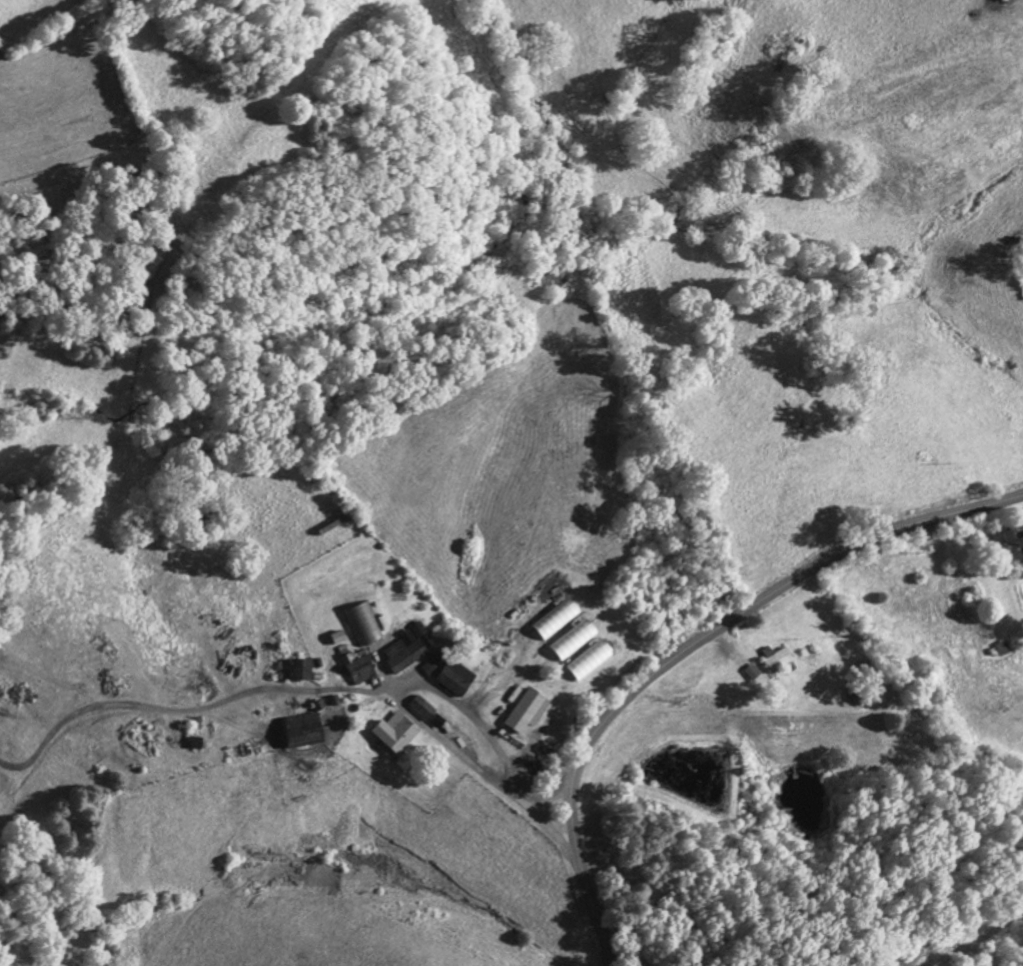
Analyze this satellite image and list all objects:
building: (1009, 3)
building: (1010, 547)
building: (553, 623)
building: (362, 626)
building: (570, 644)
road: (689, 648)
building: (405, 651)
building: (586, 664)
building: (776, 664)
building: (356, 671)
building: (429, 671)
building: (301, 672)
building: (750, 675)
building: (455, 680)
building: (524, 714)
road: (189, 715)
building: (427, 716)
road: (420, 722)
building: (300, 734)
building: (393, 737)
building: (194, 745)
road: (550, 793)

